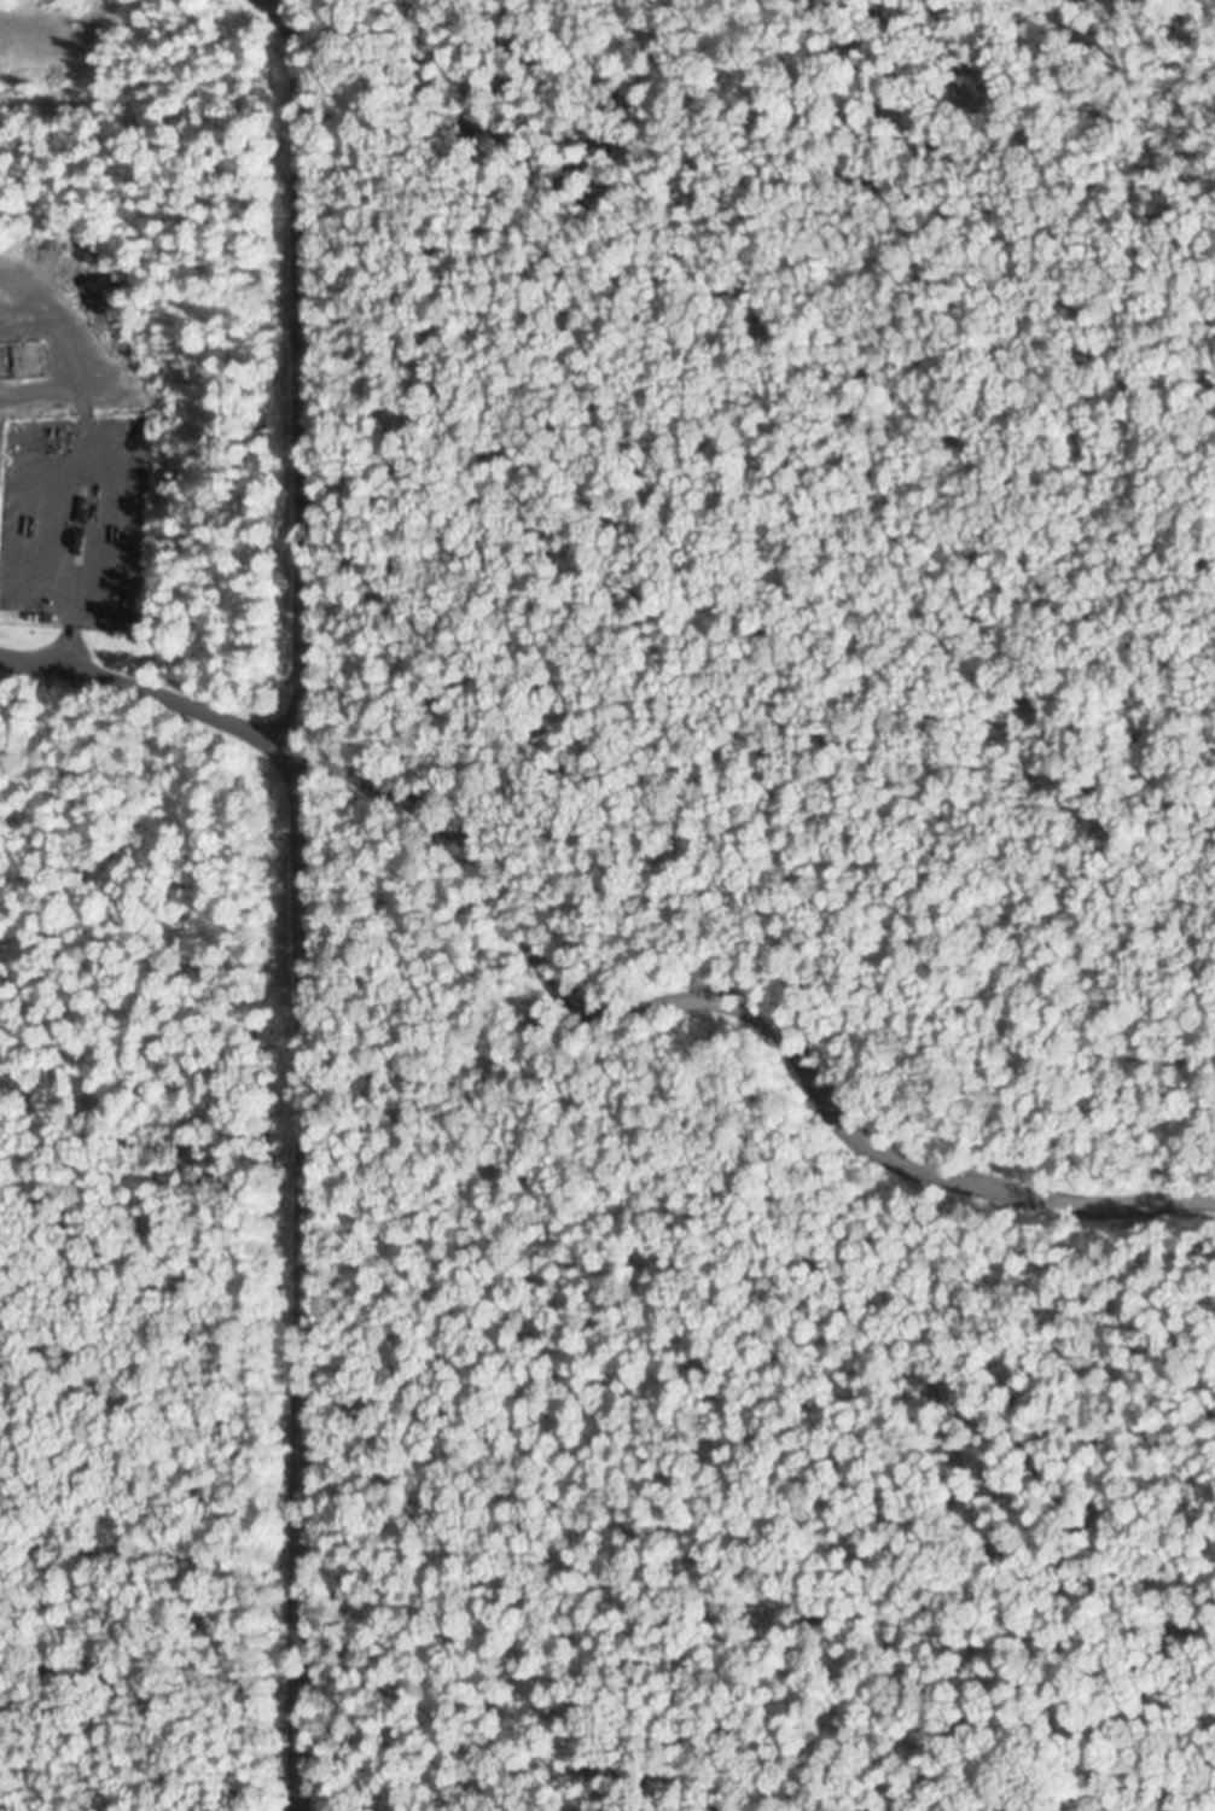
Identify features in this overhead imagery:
road: (295, 373)
building: (129, 604)
road: (146, 701)
road: (732, 1005)
road: (295, 1280)

